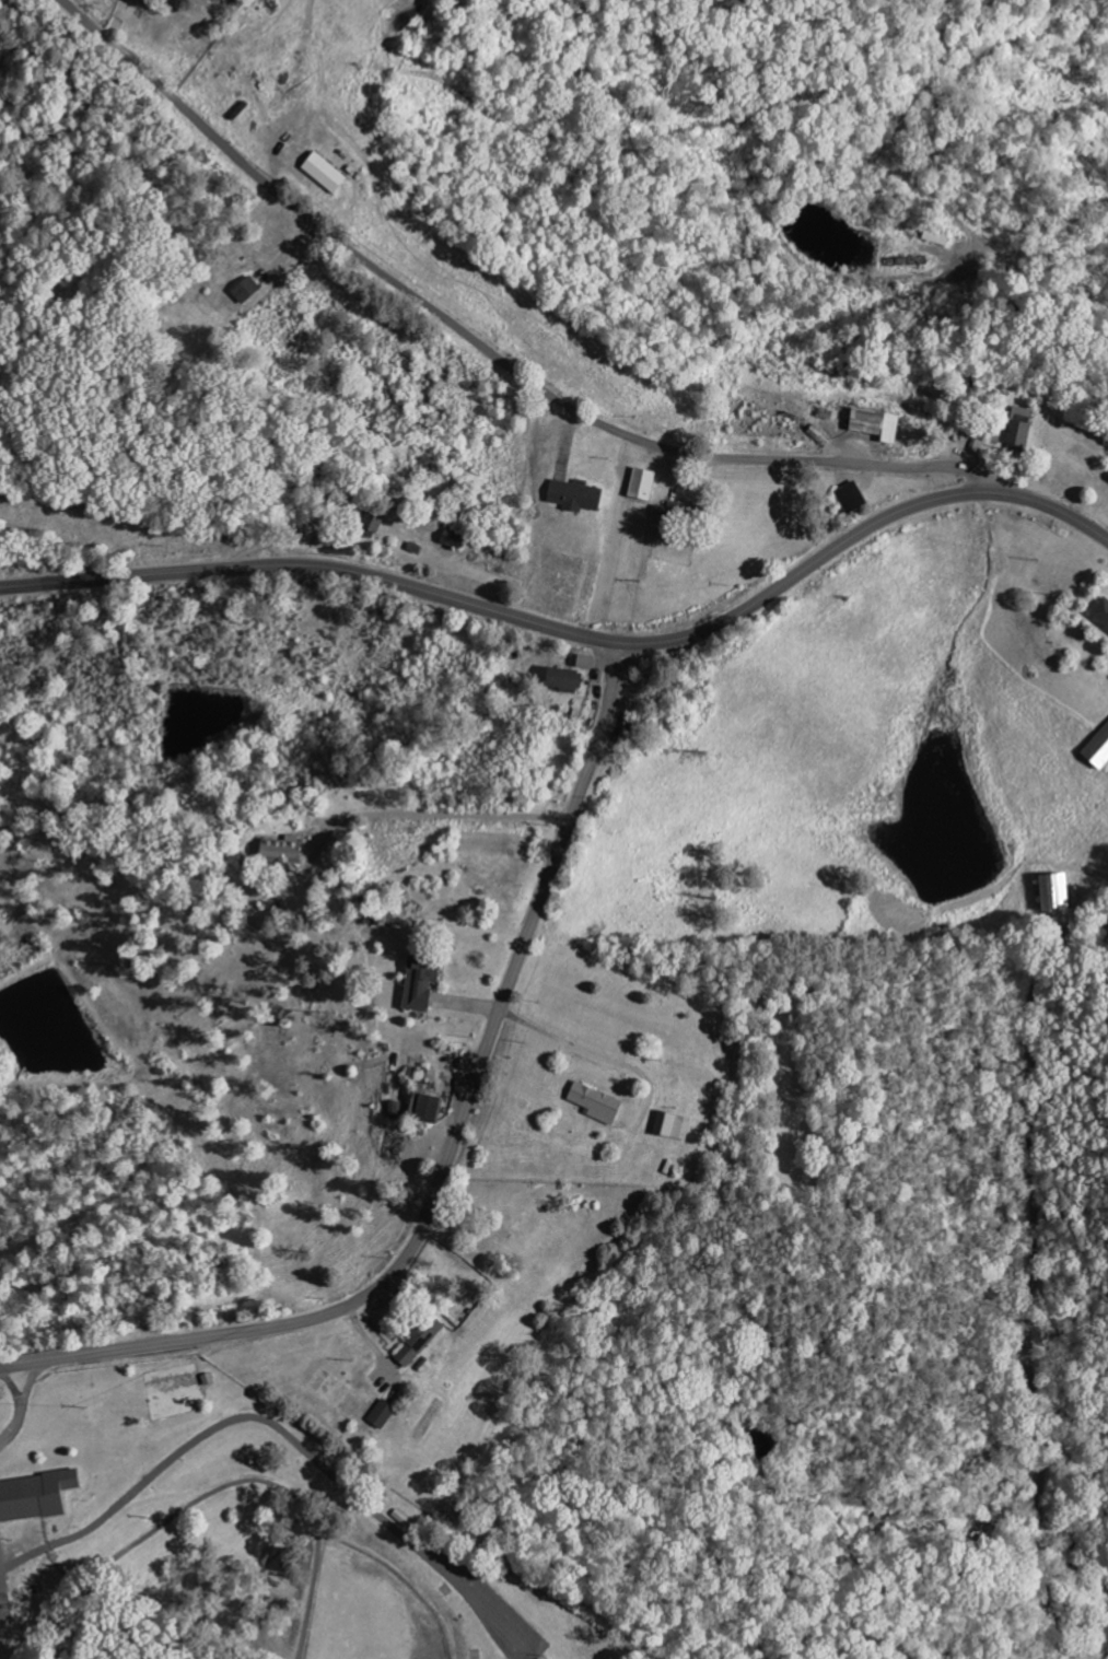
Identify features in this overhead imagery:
building: (213, 0)
building: (226, 1)
building: (327, 174)
building: (248, 292)
road: (485, 348)
building: (879, 427)
building: (1022, 430)
building: (643, 486)
building: (579, 498)
building: (678, 512)
building: (455, 539)
building: (1103, 614)
road: (573, 633)
building: (586, 664)
building: (567, 681)
building: (1099, 751)
building: (285, 851)
building: (1058, 892)
building: (422, 982)
building: (598, 1105)
building: (431, 1109)
building: (675, 1126)
road: (451, 1156)
road: (1033, 1265)
building: (420, 1342)
road: (11, 1387)
road: (22, 1404)
building: (384, 1415)
road: (279, 1427)
road: (219, 1488)
building: (37, 1497)
building: (459, 1511)
park: (240, 1529)
road: (521, 1654)

